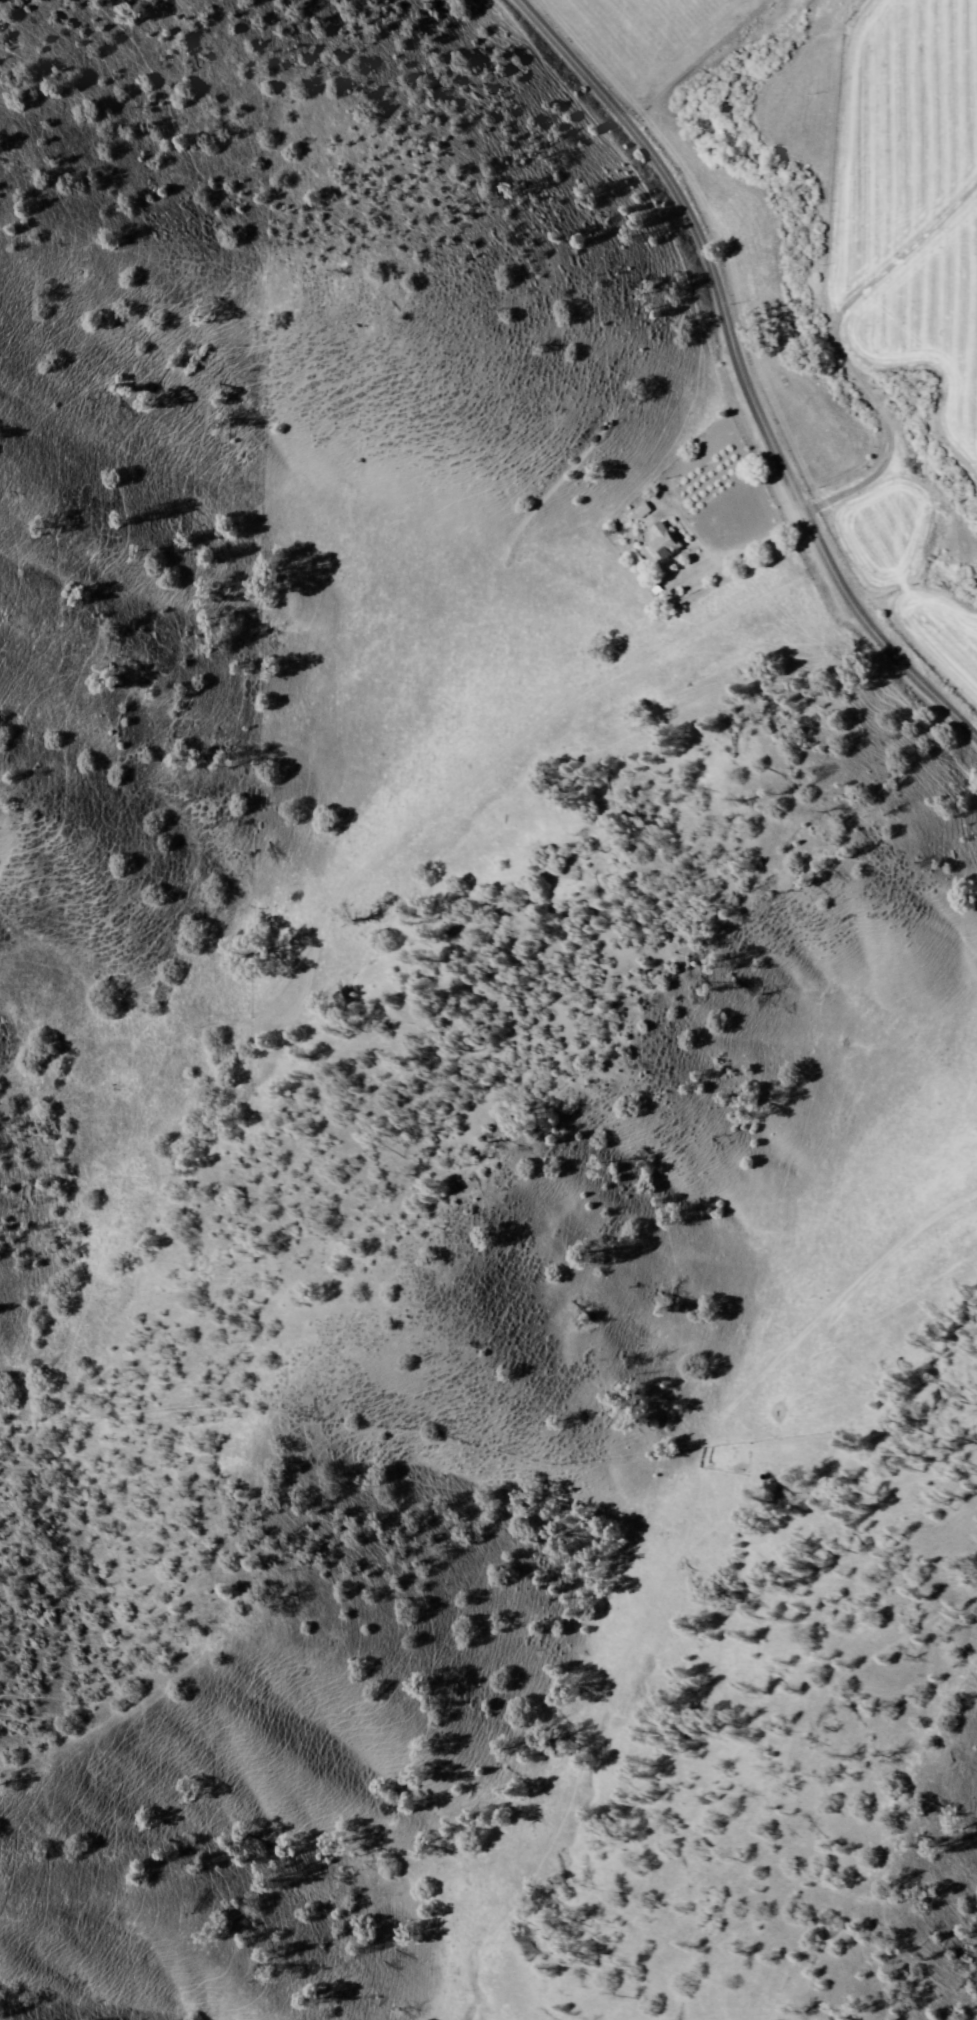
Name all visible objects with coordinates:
crop: (839, 259)
road: (839, 350)
road: (740, 370)
building: (631, 507)
building: (644, 510)
building: (662, 540)
road: (519, 750)

